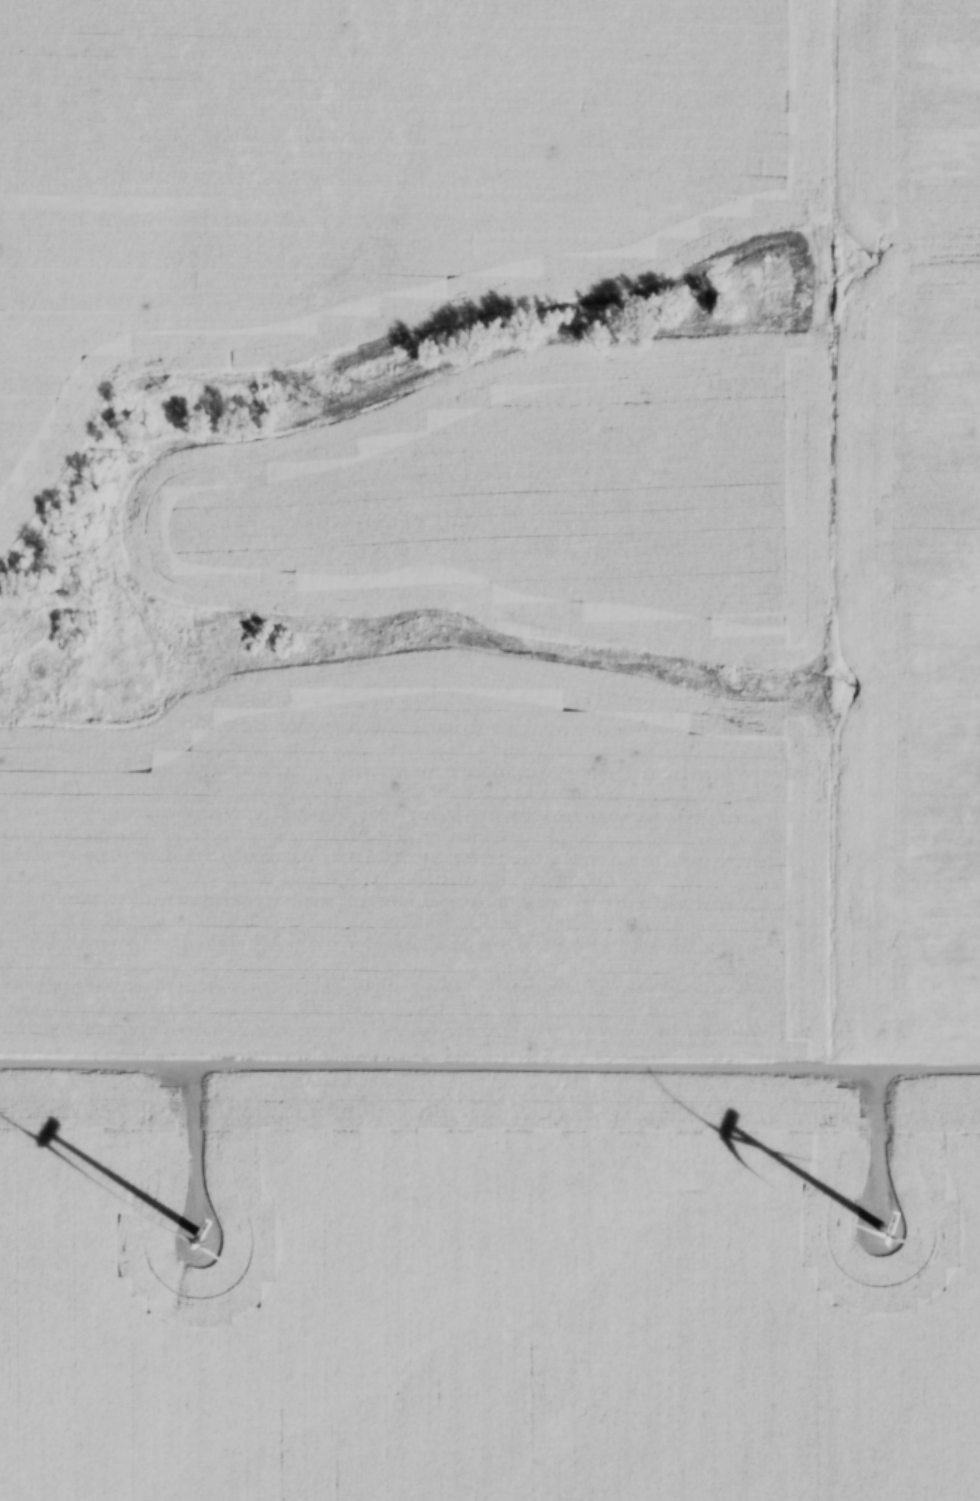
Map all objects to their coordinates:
road: (489, 1068)
wind turbine: (881, 1228)
wind turbine: (197, 1236)

